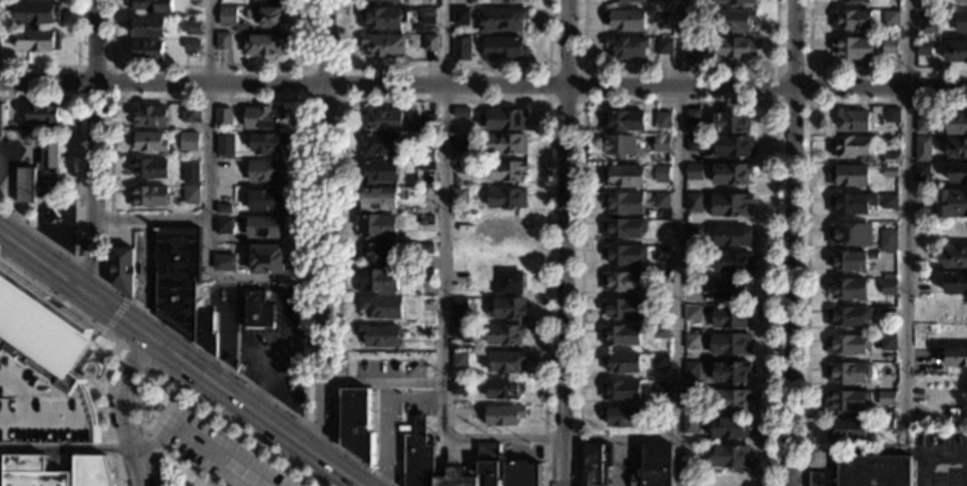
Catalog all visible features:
building: (384, 0)
building: (505, 1)
building: (628, 1)
building: (854, 1)
building: (961, 1)
building: (735, 2)
building: (151, 6)
building: (38, 13)
building: (695, 15)
building: (227, 16)
building: (267, 17)
building: (427, 17)
building: (461, 17)
building: (380, 18)
building: (663, 18)
building: (500, 19)
building: (890, 19)
building: (624, 20)
building: (733, 20)
building: (851, 20)
building: (924, 20)
building: (961, 22)
building: (146, 27)
building: (192, 27)
building: (240, 28)
building: (37, 41)
building: (222, 41)
road: (566, 42)
road: (793, 42)
building: (191, 43)
building: (430, 43)
building: (264, 44)
building: (383, 46)
building: (663, 46)
building: (626, 47)
building: (889, 47)
building: (504, 48)
building: (854, 48)
building: (923, 48)
building: (461, 49)
building: (734, 49)
building: (149, 50)
building: (194, 51)
building: (956, 51)
building: (693, 56)
road: (71, 66)
road: (111, 67)
road: (211, 68)
road: (341, 69)
road: (445, 69)
road: (583, 69)
road: (680, 70)
road: (809, 71)
road: (852, 71)
road: (163, 84)
road: (446, 85)
road: (679, 85)
road: (880, 86)
road: (157, 97)
road: (429, 100)
road: (678, 102)
road: (209, 110)
building: (43, 113)
building: (190, 115)
building: (892, 115)
building: (150, 116)
building: (222, 116)
building: (263, 117)
building: (459, 117)
building: (692, 117)
building: (1, 119)
building: (431, 119)
building: (381, 120)
building: (504, 120)
building: (662, 120)
building: (622, 121)
building: (851, 121)
building: (731, 122)
building: (922, 123)
building: (956, 124)
building: (188, 141)
building: (148, 142)
building: (267, 143)
building: (460, 143)
building: (661, 143)
building: (693, 143)
building: (225, 144)
building: (505, 144)
road: (95, 145)
building: (379, 145)
building: (620, 146)
building: (732, 146)
building: (849, 146)
building: (957, 148)
building: (922, 149)
building: (426, 155)
building: (49, 156)
building: (890, 159)
building: (426, 165)
building: (462, 167)
building: (149, 169)
building: (506, 170)
building: (693, 171)
building: (190, 172)
building: (378, 172)
building: (889, 172)
building: (921, 172)
building: (266, 173)
building: (957, 173)
building: (660, 174)
building: (729, 174)
building: (848, 176)
building: (622, 177)
building: (25, 184)
road: (75, 185)
building: (44, 187)
building: (426, 193)
road: (442, 193)
building: (191, 195)
building: (148, 196)
building: (460, 196)
building: (376, 199)
building: (506, 199)
building: (661, 200)
building: (267, 201)
building: (888, 202)
building: (694, 203)
building: (623, 204)
building: (851, 204)
building: (952, 204)
building: (730, 205)
building: (223, 208)
building: (49, 214)
road: (906, 214)
road: (807, 215)
building: (426, 221)
building: (459, 221)
building: (223, 226)
building: (377, 226)
building: (506, 226)
building: (265, 227)
road: (323, 227)
building: (622, 229)
building: (693, 233)
building: (850, 235)
building: (732, 236)
building: (887, 240)
road: (679, 243)
building: (425, 249)
road: (206, 252)
building: (380, 253)
building: (660, 254)
building: (624, 255)
building: (954, 258)
building: (693, 259)
building: (267, 260)
building: (848, 261)
road: (563, 262)
building: (224, 263)
building: (732, 263)
building: (122, 269)
road: (91, 273)
building: (425, 275)
building: (177, 277)
building: (459, 278)
building: (660, 278)
building: (377, 281)
building: (623, 282)
building: (508, 283)
building: (691, 284)
building: (956, 284)
road: (791, 286)
building: (888, 288)
building: (731, 289)
building: (847, 289)
building: (459, 304)
building: (381, 308)
building: (623, 308)
building: (507, 309)
building: (257, 311)
building: (692, 313)
building: (888, 313)
road: (116, 315)
building: (730, 316)
building: (847, 316)
building: (424, 330)
building: (42, 332)
building: (205, 332)
building: (459, 332)
building: (659, 332)
building: (504, 334)
building: (380, 336)
building: (620, 336)
building: (691, 342)
building: (887, 343)
building: (847, 344)
road: (120, 345)
building: (730, 345)
road: (135, 356)
building: (956, 357)
road: (179, 358)
building: (458, 358)
building: (505, 362)
building: (660, 362)
building: (621, 363)
building: (730, 371)
building: (691, 372)
building: (847, 372)
building: (457, 387)
road: (183, 388)
building: (874, 388)
building: (503, 389)
building: (660, 389)
building: (620, 390)
building: (689, 397)
building: (886, 398)
building: (730, 400)
building: (847, 400)
road: (196, 404)
building: (42, 407)
parking garage: (42, 407)
road: (121, 408)
road: (162, 411)
road: (441, 413)
road: (211, 415)
building: (503, 416)
building: (659, 416)
building: (620, 417)
building: (358, 423)
building: (886, 424)
road: (226, 426)
building: (689, 426)
building: (730, 428)
building: (847, 429)
road: (320, 434)
road: (395, 435)
road: (241, 436)
road: (619, 437)
road: (237, 440)
road: (201, 441)
parking lot: (213, 448)
road: (257, 448)
road: (65, 449)
road: (929, 454)
building: (729, 456)
road: (272, 458)
parking lot: (941, 461)
building: (488, 463)
road: (560, 463)
road: (179, 464)
building: (595, 464)
building: (655, 466)
building: (430, 467)
road: (287, 469)
building: (1, 470)
building: (874, 470)
building: (92, 471)
building: (31, 472)
building: (522, 474)
building: (821, 478)
road: (303, 480)
road: (192, 481)
road: (204, 484)

